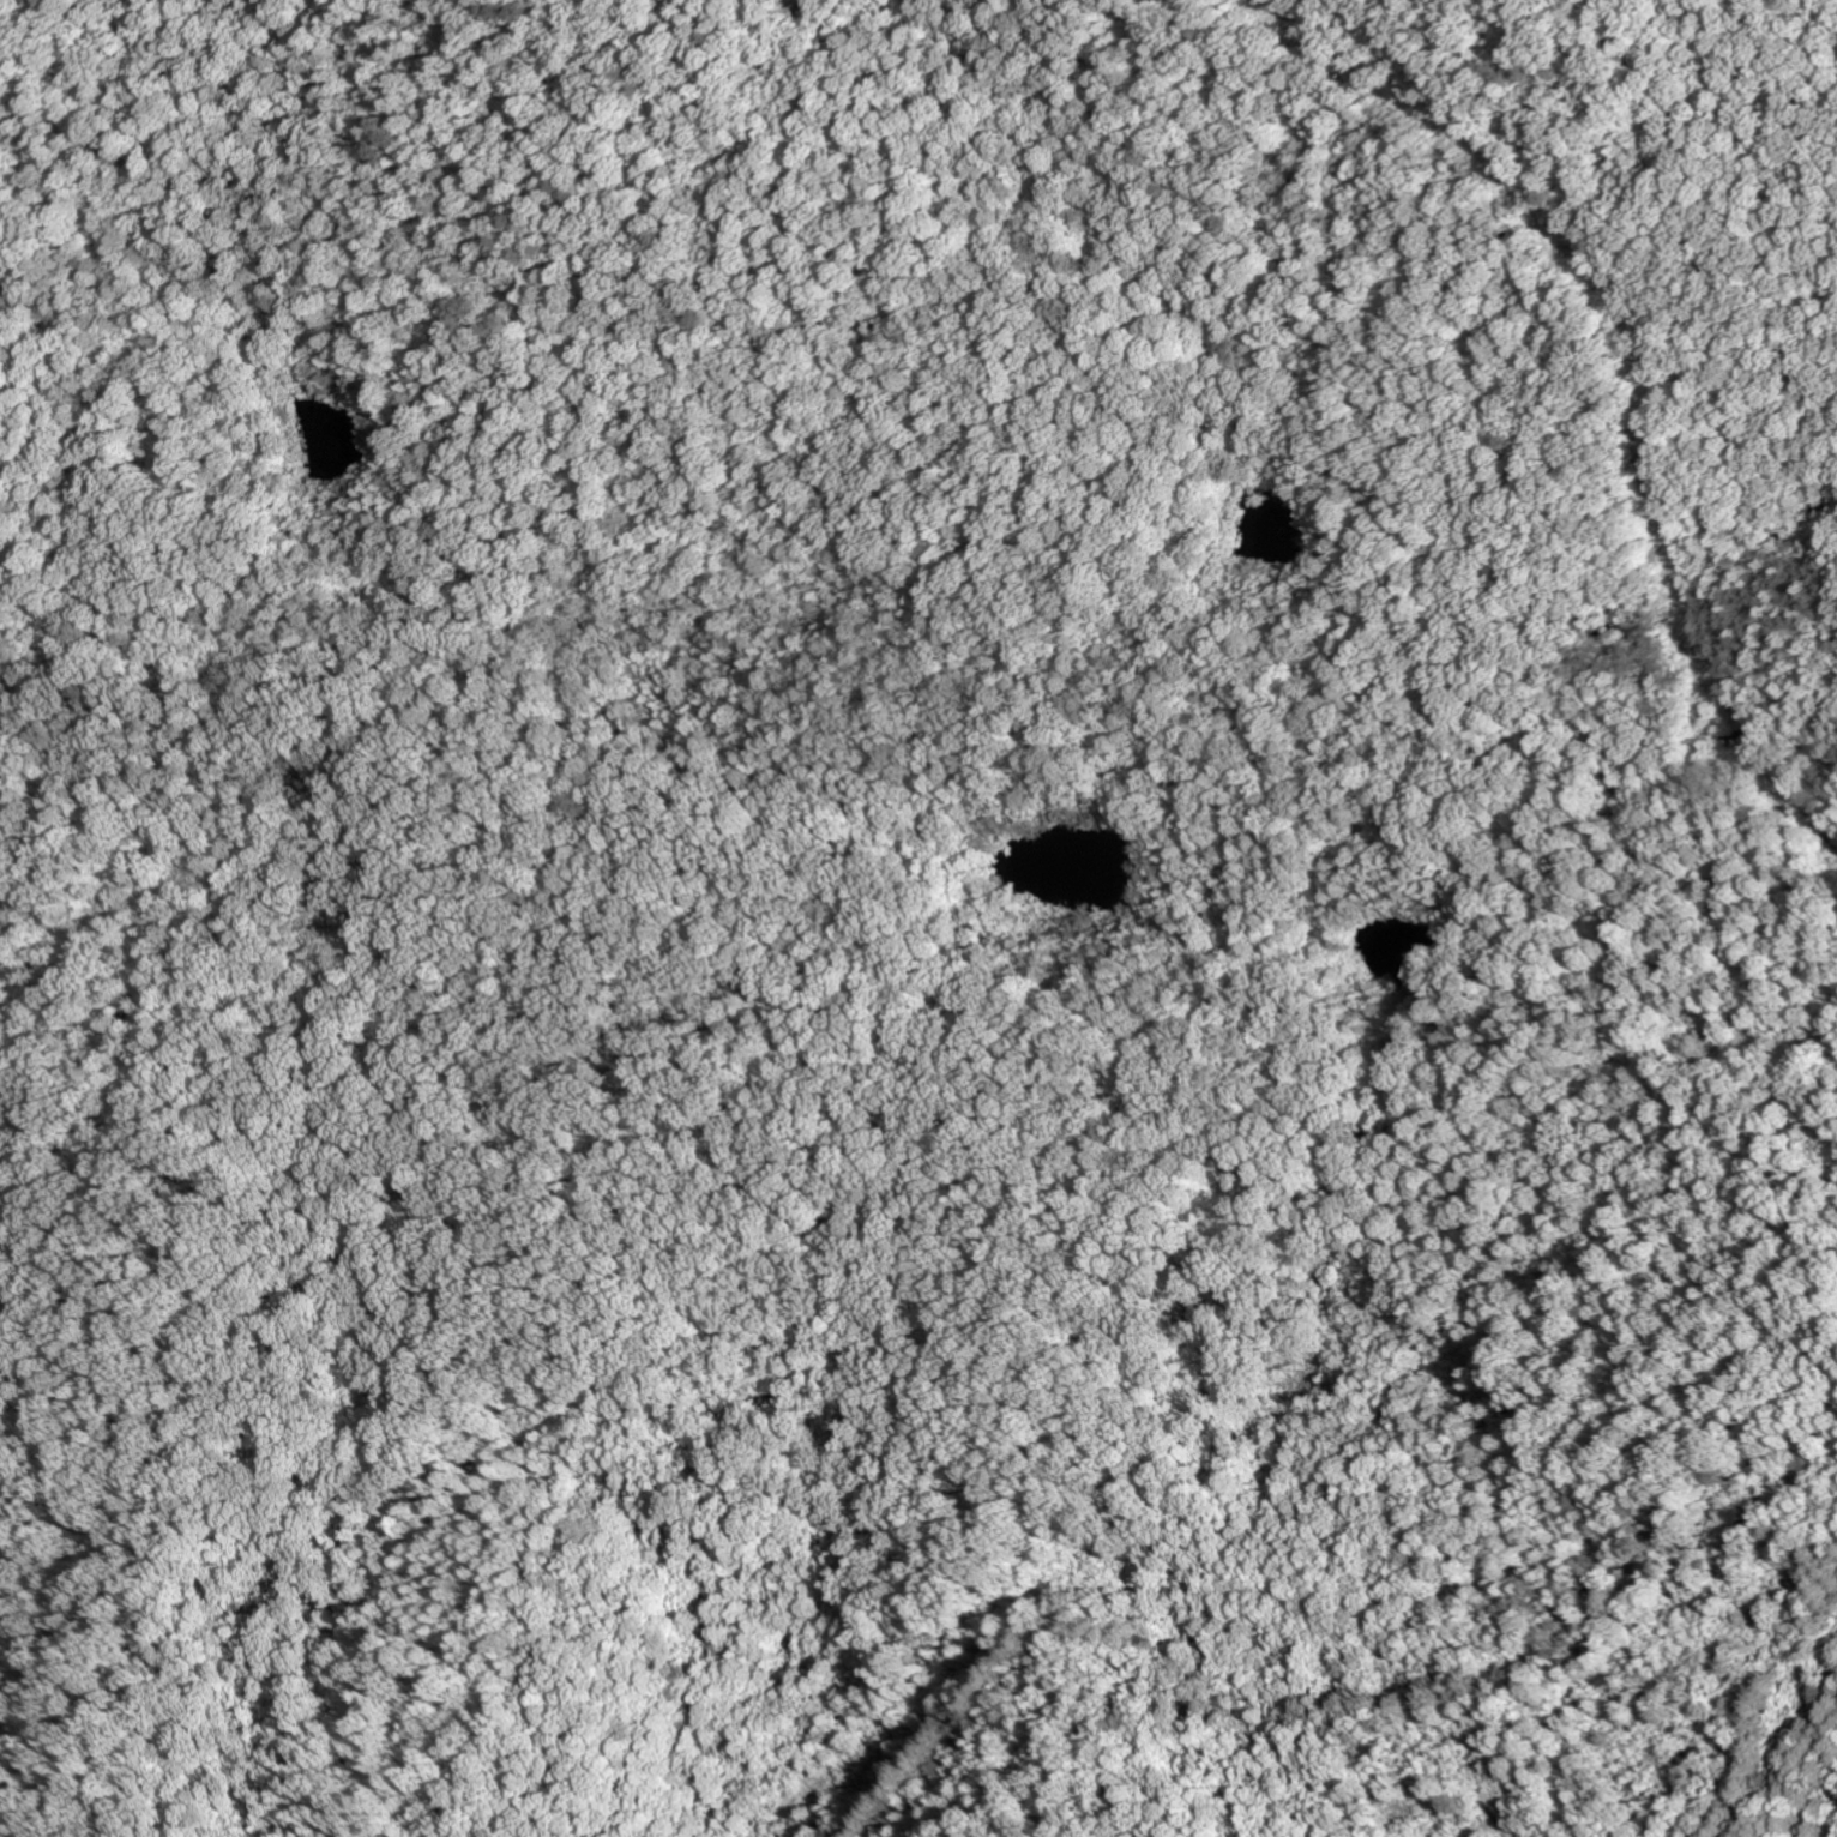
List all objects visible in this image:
road: (1736, 1785)

